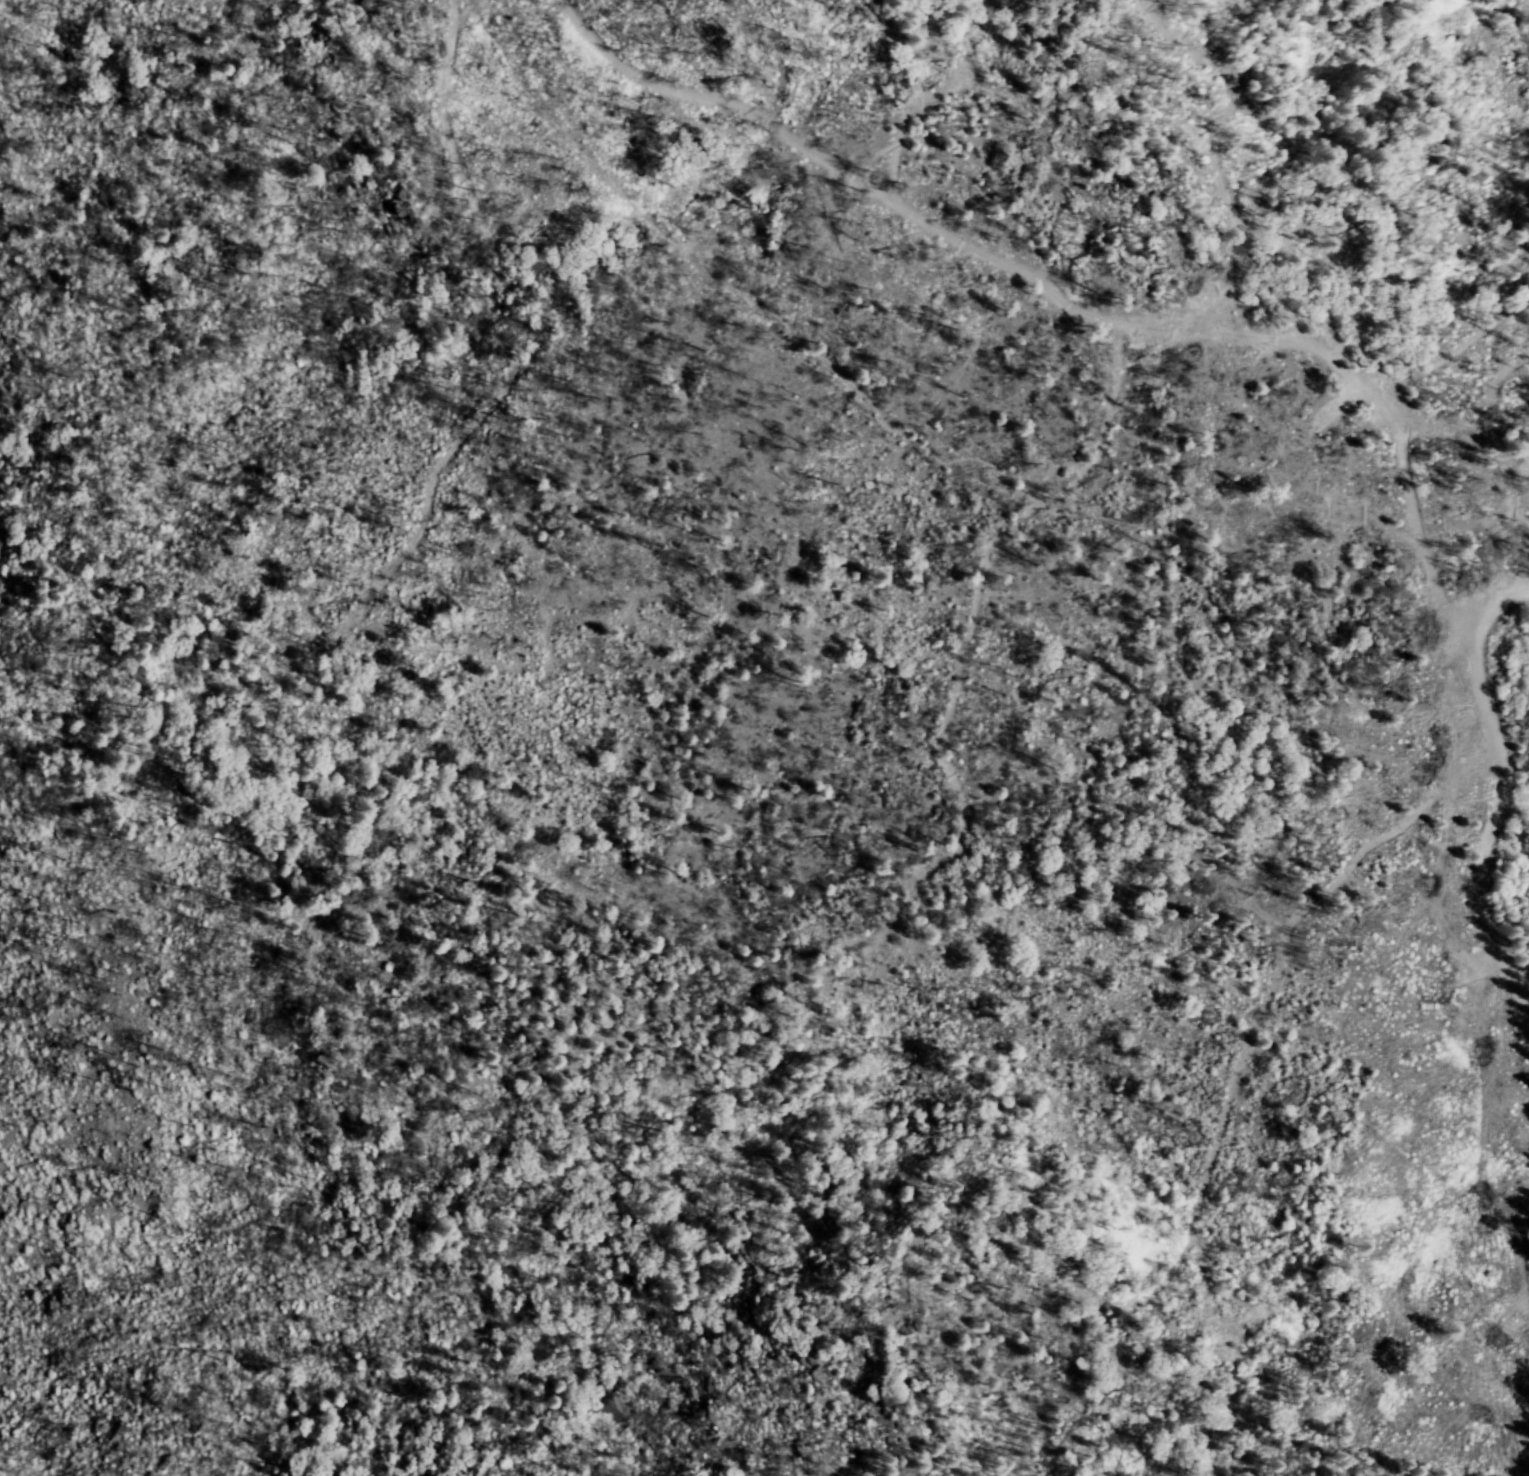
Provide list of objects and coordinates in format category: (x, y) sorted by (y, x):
road: (1518, 770)

